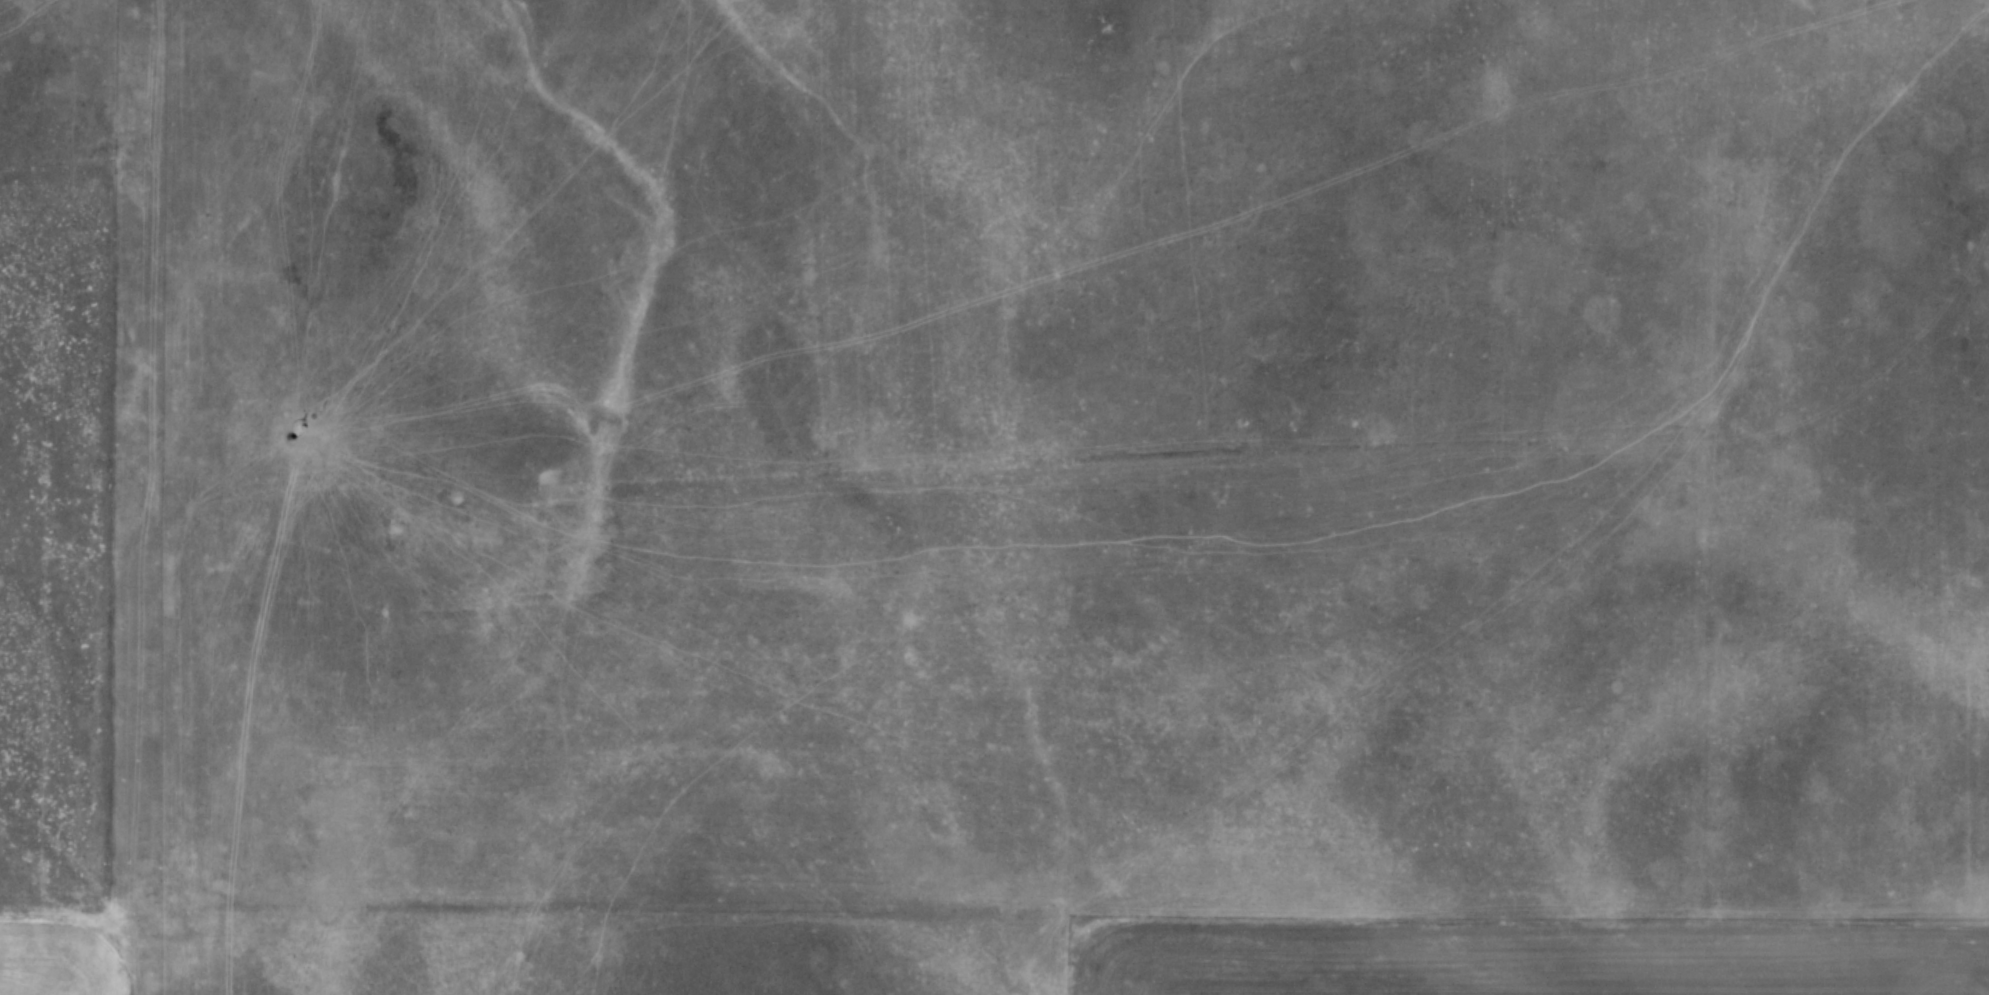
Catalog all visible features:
road: (130, 963)

